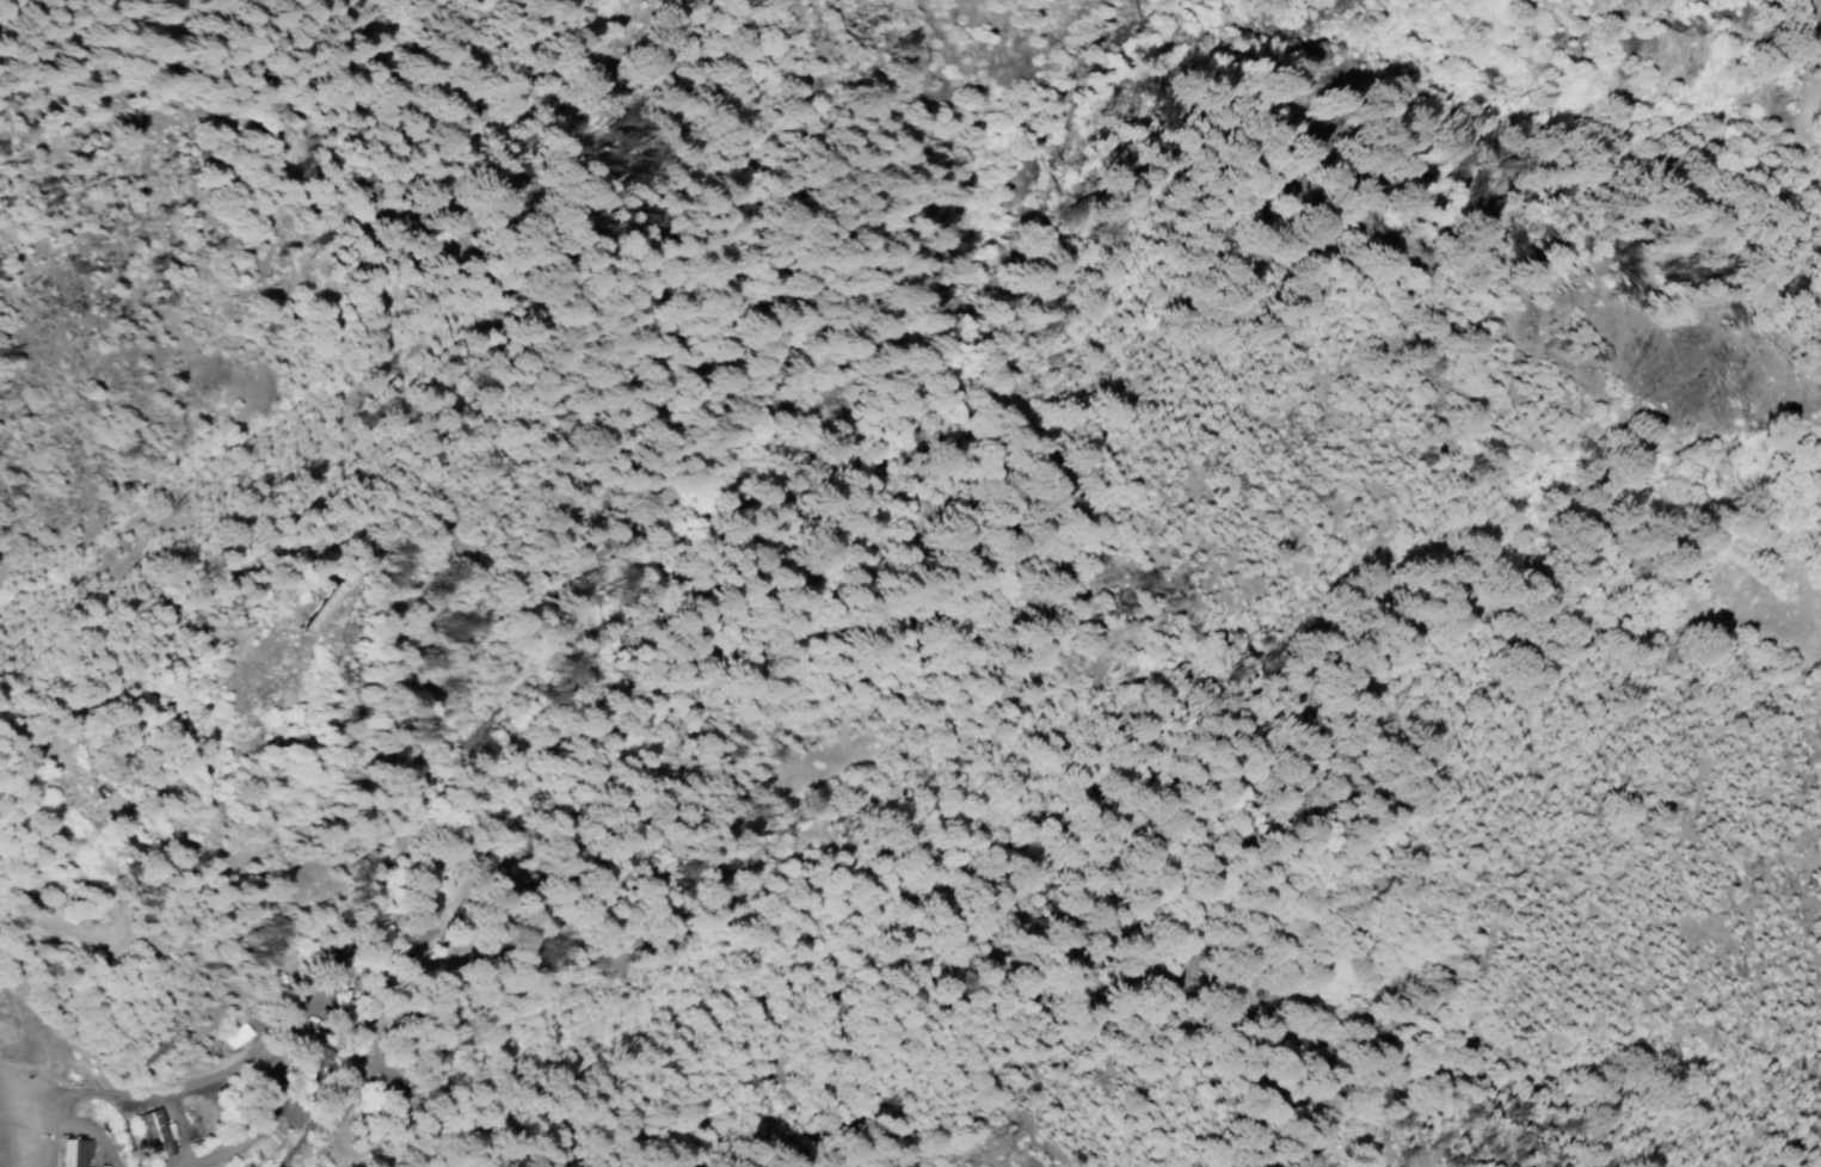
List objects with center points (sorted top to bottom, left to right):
road: (438, 921)
building: (318, 1056)
building: (293, 1114)
building: (154, 1136)
building: (75, 1153)

